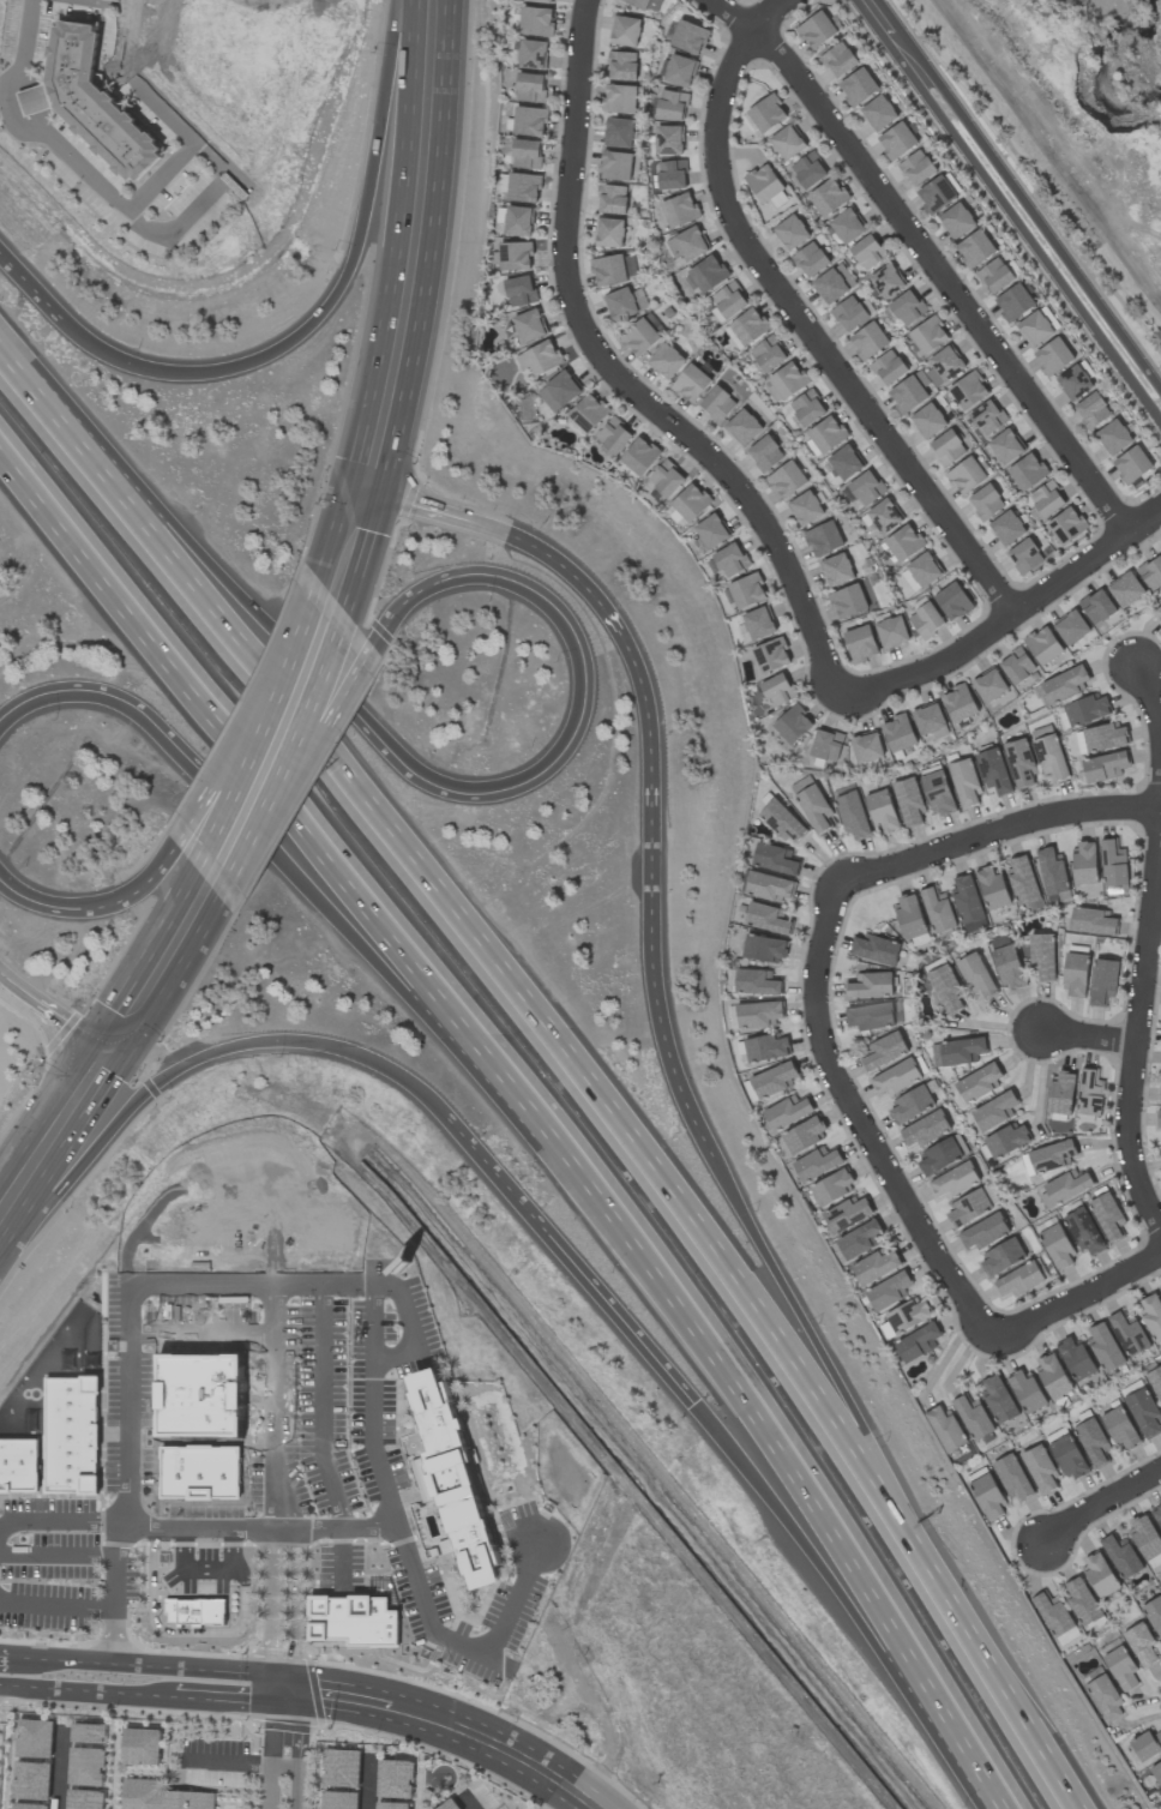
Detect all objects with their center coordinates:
road: (119, 1)
building: (540, 1)
building: (643, 4)
building: (536, 20)
building: (816, 30)
building: (625, 31)
building: (688, 37)
road: (891, 37)
building: (531, 54)
building: (838, 60)
building: (622, 66)
building: (679, 70)
building: (858, 86)
building: (529, 88)
building: (619, 98)
building: (95, 104)
building: (669, 104)
building: (878, 113)
building: (766, 114)
building: (529, 121)
building: (618, 132)
building: (668, 140)
building: (896, 140)
building: (787, 143)
building: (525, 154)
building: (615, 166)
building: (916, 168)
building: (808, 170)
road: (163, 174)
building: (672, 175)
building: (764, 184)
building: (523, 187)
road: (1023, 190)
building: (936, 194)
building: (828, 197)
building: (612, 199)
building: (679, 210)
road: (1001, 218)
building: (517, 221)
building: (956, 221)
building: (847, 227)
road: (1042, 229)
road: (154, 232)
building: (609, 233)
building: (790, 233)
building: (686, 245)
building: (975, 248)
road: (1036, 251)
building: (867, 253)
building: (515, 256)
road: (926, 258)
building: (810, 259)
building: (613, 269)
building: (708, 274)
building: (994, 275)
building: (886, 282)
road: (30, 287)
building: (830, 287)
building: (519, 290)
building: (728, 300)
road: (332, 301)
building: (1013, 302)
building: (625, 303)
building: (907, 308)
building: (849, 313)
road: (801, 318)
building: (529, 325)
road: (403, 326)
building: (748, 326)
building: (1034, 329)
building: (928, 336)
building: (639, 337)
building: (868, 341)
building: (768, 354)
building: (1053, 356)
building: (539, 357)
building: (666, 361)
building: (946, 363)
building: (889, 367)
road: (619, 379)
building: (788, 380)
building: (691, 383)
building: (1073, 383)
building: (968, 390)
building: (558, 391)
building: (907, 395)
building: (717, 404)
building: (807, 408)
building: (1091, 410)
building: (586, 415)
building: (988, 417)
building: (928, 421)
building: (742, 427)
building: (826, 434)
building: (613, 435)
building: (1113, 437)
building: (1005, 446)
building: (948, 447)
building: (764, 453)
building: (639, 456)
building: (844, 462)
building: (1131, 464)
building: (1027, 471)
building: (966, 475)
building: (666, 479)
building: (787, 480)
building: (864, 488)
building: (1046, 499)
building: (691, 503)
building: (986, 503)
building: (805, 509)
building: (884, 516)
building: (1066, 525)
building: (1006, 528)
building: (711, 531)
road: (511, 537)
building: (823, 539)
building: (903, 542)
building: (1024, 557)
building: (730, 560)
building: (836, 570)
building: (924, 570)
building: (1151, 573)
building: (1125, 589)
building: (746, 590)
building: (848, 601)
building: (952, 601)
building: (1096, 606)
building: (1157, 613)
road: (1010, 614)
building: (926, 620)
building: (757, 623)
building: (1071, 627)
building: (891, 632)
road: (155, 636)
building: (860, 643)
building: (1043, 645)
building: (771, 655)
building: (1017, 666)
building: (988, 685)
building: (1060, 686)
building: (776, 690)
road: (1150, 690)
building: (958, 703)
building: (1083, 711)
road: (645, 719)
building: (928, 719)
building: (793, 725)
building: (898, 734)
road: (156, 735)
building: (1100, 738)
building: (826, 745)
building: (866, 747)
building: (1048, 752)
road: (555, 755)
road: (269, 761)
building: (1019, 763)
building: (1103, 768)
building: (993, 771)
building: (964, 782)
building: (938, 793)
building: (908, 800)
building: (812, 804)
building: (882, 811)
building: (852, 815)
building: (782, 821)
road: (998, 835)
building: (772, 859)
building: (1084, 863)
building: (1113, 866)
building: (1052, 875)
building: (768, 887)
building: (992, 888)
road: (101, 900)
building: (968, 903)
building: (937, 909)
building: (909, 916)
building: (766, 919)
building: (1091, 922)
building: (763, 948)
building: (876, 949)
building: (1042, 957)
building: (1009, 967)
road: (486, 972)
building: (976, 975)
building: (1075, 975)
road: (422, 978)
road: (8, 980)
building: (756, 982)
building: (1103, 984)
building: (870, 985)
building: (945, 988)
building: (757, 1014)
building: (868, 1016)
road: (64, 1018)
road: (121, 1029)
road: (1139, 1036)
road: (1091, 1039)
building: (765, 1047)
building: (884, 1051)
building: (956, 1052)
building: (896, 1077)
building: (772, 1080)
building: (977, 1083)
building: (1089, 1093)
building: (1160, 1093)
building: (1060, 1094)
building: (910, 1104)
building: (993, 1111)
building: (787, 1112)
building: (1159, 1118)
road: (864, 1124)
building: (925, 1129)
building: (802, 1135)
building: (1005, 1141)
building: (938, 1156)
building: (1051, 1156)
building: (816, 1164)
building: (954, 1182)
building: (1066, 1185)
building: (832, 1186)
road: (12, 1198)
building: (968, 1208)
building: (847, 1214)
building: (1107, 1214)
road: (748, 1222)
building: (1083, 1231)
building: (982, 1233)
building: (854, 1242)
building: (1001, 1257)
road: (575, 1264)
building: (876, 1266)
building: (1019, 1280)
building: (889, 1291)
road: (1079, 1298)
road: (273, 1308)
building: (1151, 1314)
building: (902, 1318)
road: (372, 1322)
road: (408, 1327)
road: (272, 1334)
building: (1129, 1334)
building: (916, 1342)
road: (130, 1346)
building: (1103, 1346)
building: (1076, 1359)
building: (1052, 1376)
building: (1155, 1381)
building: (1027, 1390)
building: (998, 1399)
road: (320, 1406)
building: (1143, 1412)
building: (973, 1417)
building: (1119, 1428)
building: (945, 1429)
building: (72, 1435)
building: (1091, 1441)
building: (1067, 1455)
road: (775, 1460)
building: (18, 1465)
building: (1040, 1468)
building: (1012, 1477)
building: (451, 1478)
building: (986, 1492)
road: (1103, 1510)
building: (1157, 1514)
road: (342, 1528)
building: (1147, 1539)
road: (60, 1555)
building: (1121, 1556)
road: (116, 1564)
road: (206, 1571)
road: (294, 1574)
building: (1099, 1574)
road: (270, 1575)
building: (1082, 1600)
road: (83, 1606)
building: (1154, 1615)
building: (1055, 1618)
building: (1141, 1645)
road: (469, 1646)
road: (0, 1657)
road: (56, 1660)
building: (1121, 1667)
road: (215, 1671)
road: (72, 1689)
road: (231, 1694)
building: (1105, 1699)
road: (1013, 1709)
road: (272, 1720)
road: (464, 1731)
building: (88, 1733)
building: (34, 1738)
road: (297, 1742)
building: (1147, 1744)
building: (140, 1747)
road: (228, 1763)
building: (86, 1766)
road: (59, 1768)
building: (341, 1768)
building: (1156, 1772)
building: (392, 1774)
building: (31, 1780)
road: (368, 1781)
road: (269, 1787)
building: (161, 1796)
building: (84, 1799)
building: (339, 1801)
road: (468, 1801)
building: (450, 1804)
road: (1001, 1804)
building: (29, 1805)
building: (393, 1805)

